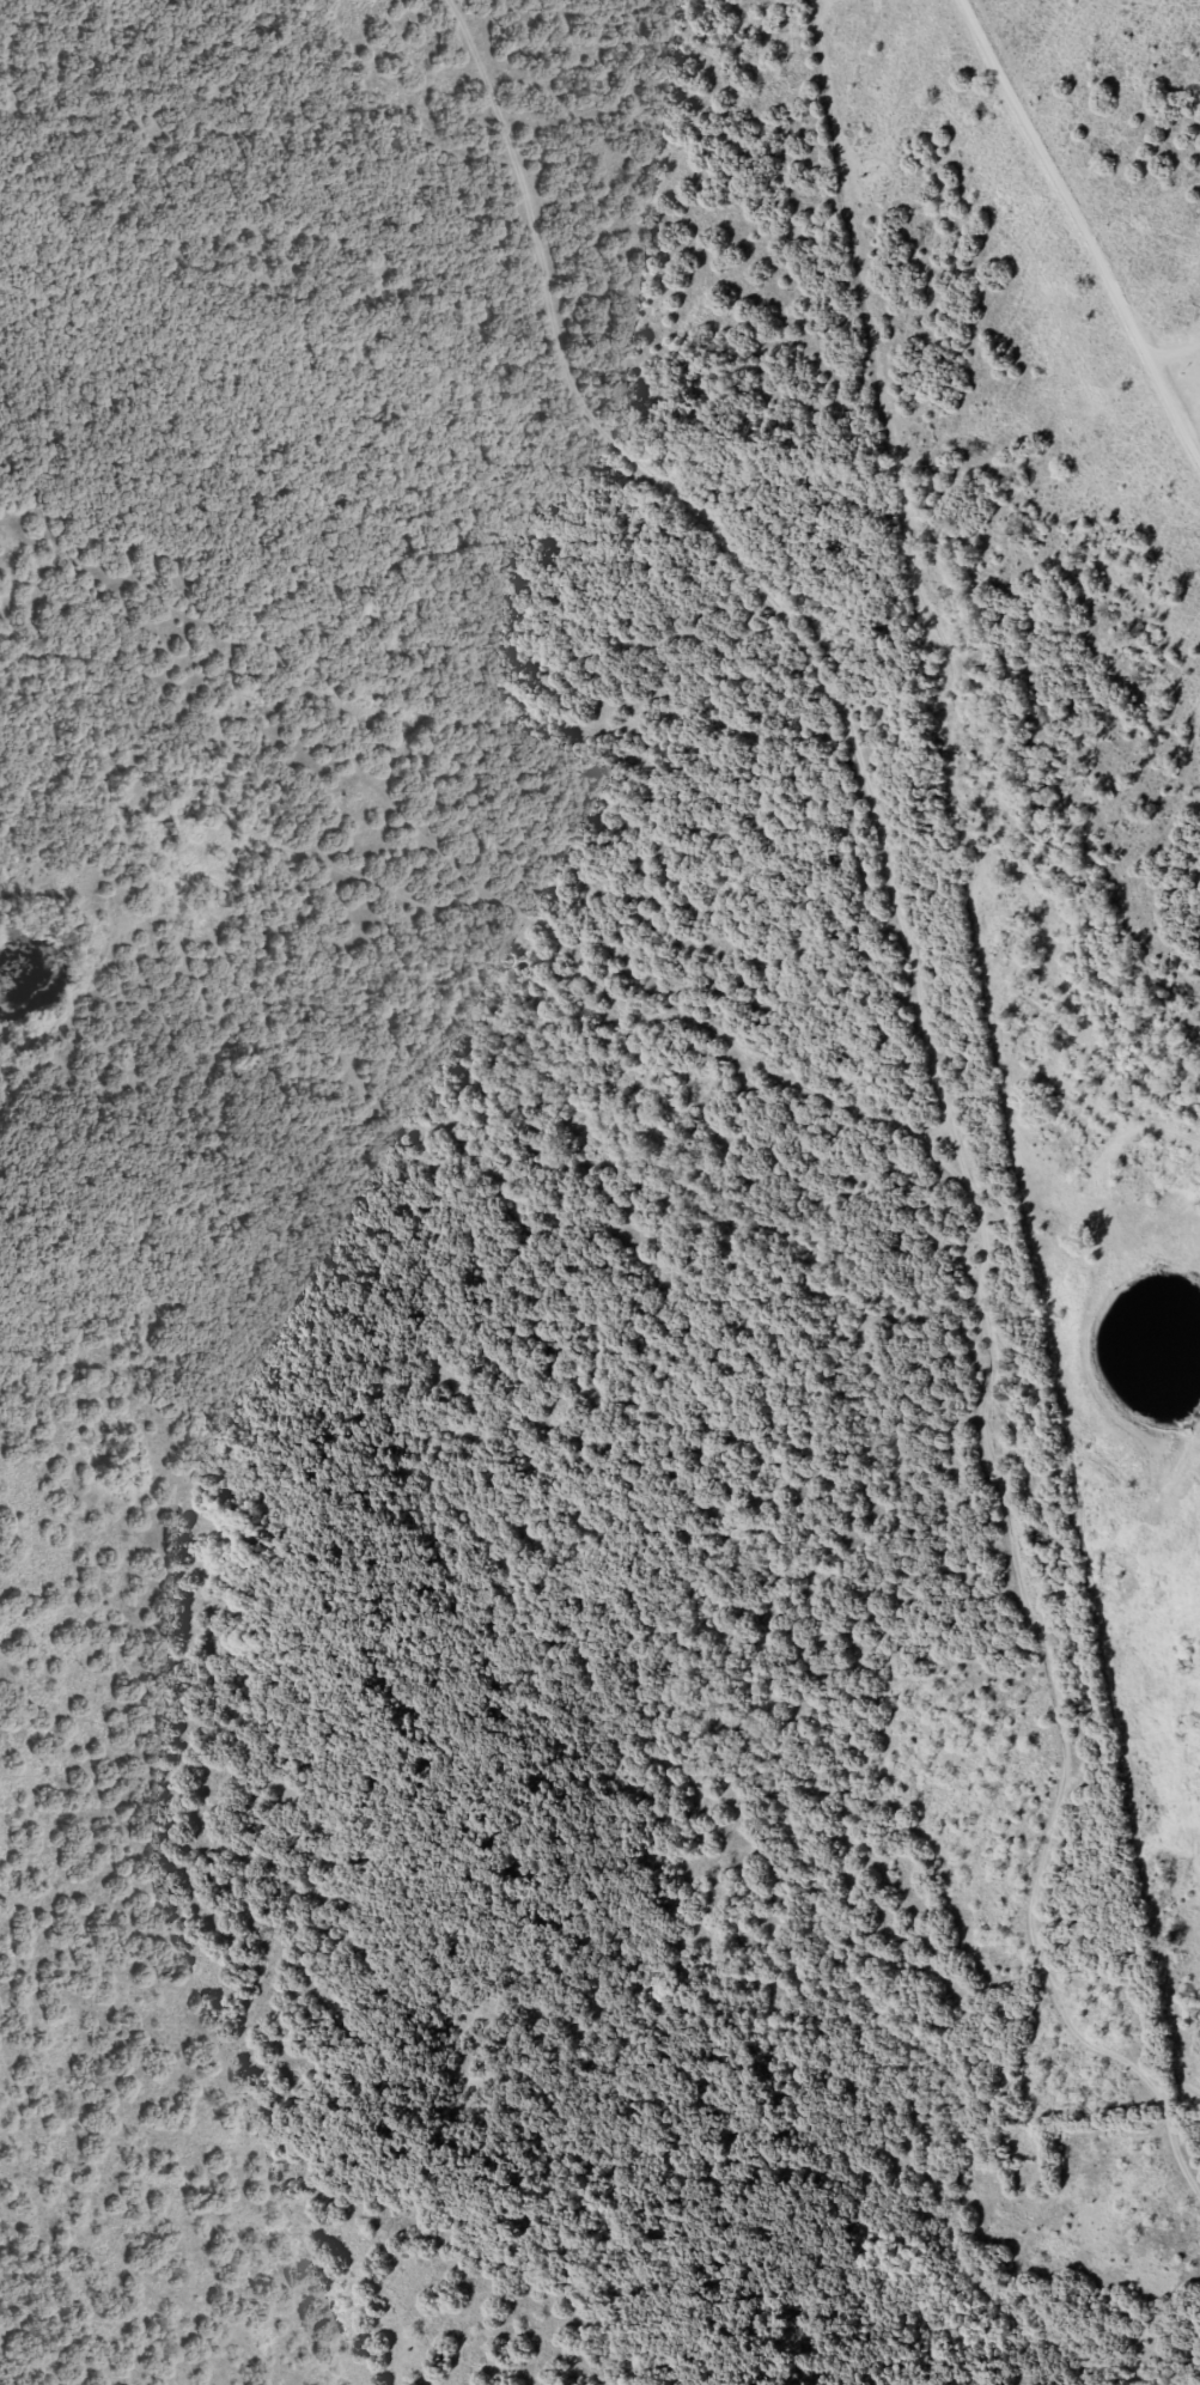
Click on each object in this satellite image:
road: (945, 1069)
road: (1060, 1647)

